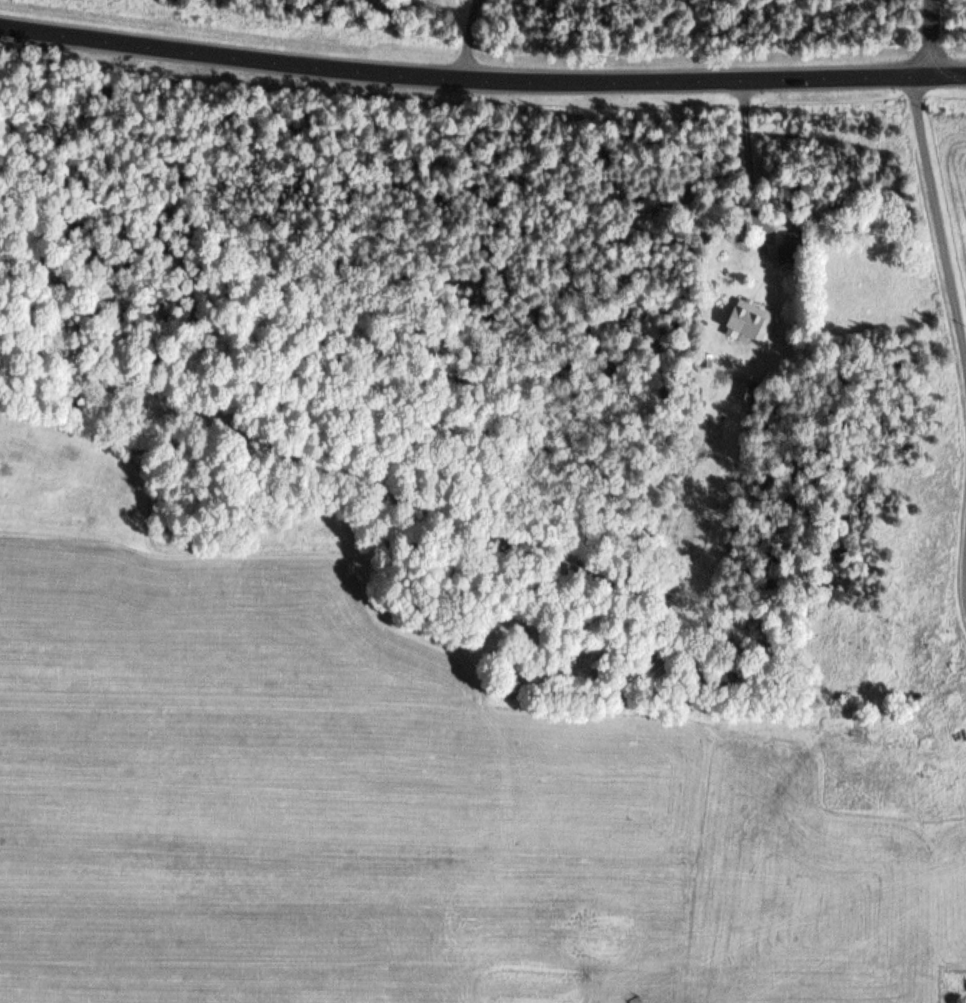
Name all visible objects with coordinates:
road: (481, 80)
road: (937, 222)
building: (749, 320)

